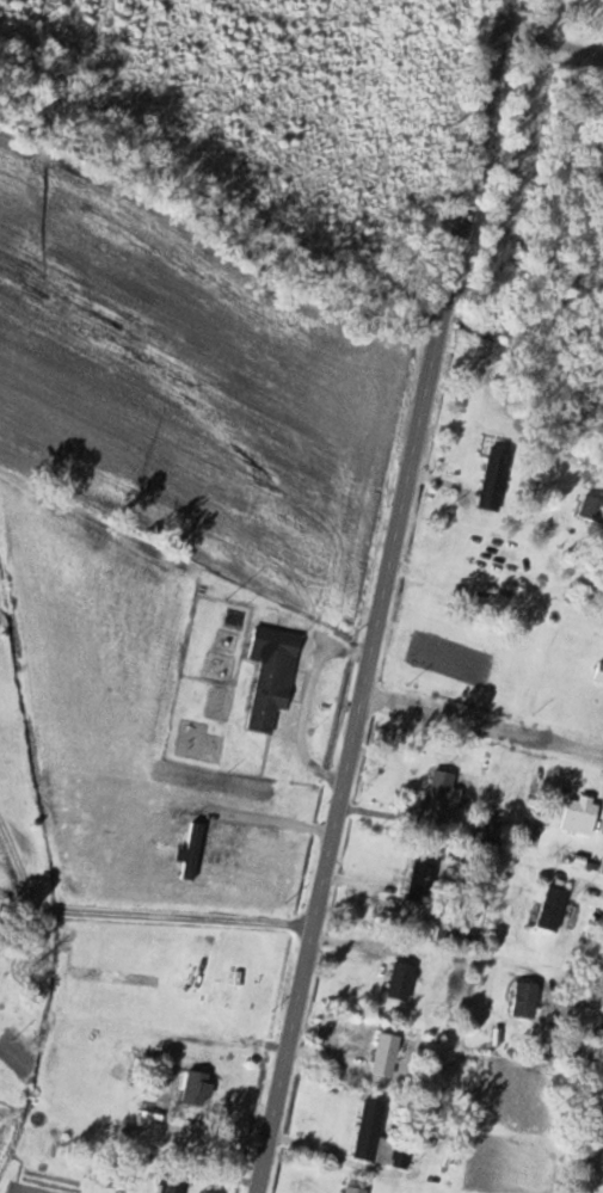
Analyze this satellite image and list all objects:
river: (209, 208)
river: (442, 316)
river: (528, 377)
building: (497, 479)
building: (592, 508)
road: (380, 596)
building: (599, 671)
building: (273, 676)
road: (481, 719)
building: (442, 788)
building: (582, 814)
building: (488, 835)
building: (425, 883)
building: (554, 908)
building: (441, 930)
building: (402, 980)
building: (238, 983)
building: (527, 1000)
building: (388, 1054)
building: (186, 1090)
building: (375, 1134)
road: (593, 1134)
building: (176, 1181)
building: (356, 1191)

